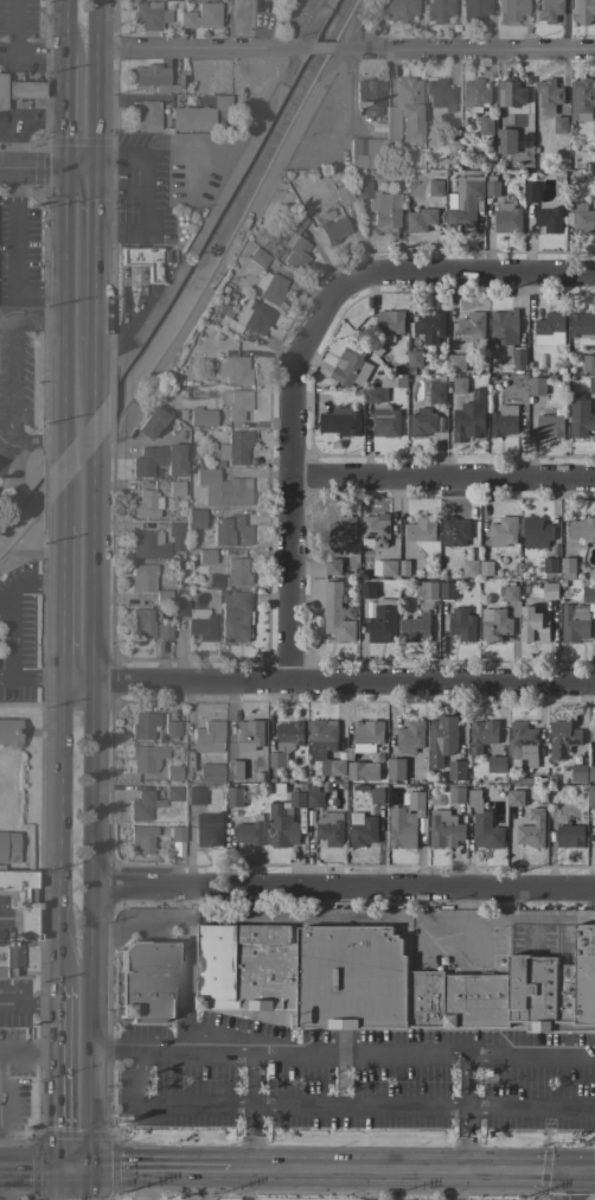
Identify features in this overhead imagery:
building: (397, 8)
building: (439, 9)
building: (474, 9)
building: (511, 9)
building: (549, 11)
building: (582, 11)
building: (149, 14)
building: (200, 15)
road: (65, 27)
road: (199, 47)
road: (326, 47)
road: (473, 49)
road: (32, 51)
building: (154, 77)
road: (96, 78)
building: (24, 89)
building: (1, 90)
building: (439, 92)
building: (474, 92)
building: (510, 92)
building: (370, 95)
building: (548, 95)
building: (181, 98)
building: (582, 98)
building: (220, 102)
building: (404, 109)
road: (65, 114)
building: (145, 114)
building: (192, 117)
road: (32, 121)
building: (559, 125)
building: (484, 126)
building: (594, 128)
building: (506, 141)
road: (9, 151)
building: (365, 152)
road: (104, 161)
road: (128, 161)
road: (96, 166)
road: (31, 172)
traffic signals: (64, 172)
road: (79, 173)
traffic signals: (96, 174)
parking lot: (166, 174)
road: (96, 183)
building: (491, 186)
building: (435, 187)
road: (128, 190)
road: (104, 191)
building: (530, 192)
building: (341, 193)
building: (380, 205)
building: (463, 205)
road: (96, 211)
building: (506, 218)
road: (142, 219)
building: (421, 219)
building: (548, 219)
building: (583, 219)
building: (293, 221)
building: (333, 229)
building: (581, 241)
road: (14, 254)
building: (296, 254)
building: (257, 256)
building: (142, 260)
road: (478, 269)
road: (141, 287)
building: (270, 287)
road: (95, 291)
road: (62, 292)
road: (126, 301)
building: (249, 315)
road: (41, 318)
building: (389, 321)
road: (11, 326)
building: (429, 326)
building: (582, 326)
building: (469, 327)
building: (549, 330)
building: (506, 338)
building: (415, 358)
road: (5, 360)
building: (455, 363)
building: (588, 363)
building: (350, 366)
building: (233, 369)
road: (94, 379)
building: (399, 382)
building: (458, 384)
building: (591, 385)
building: (536, 387)
building: (375, 394)
building: (436, 395)
building: (236, 402)
road: (6, 406)
building: (201, 416)
building: (580, 416)
building: (468, 417)
building: (151, 421)
building: (384, 421)
building: (503, 421)
building: (339, 422)
building: (422, 422)
building: (550, 425)
road: (31, 438)
road: (92, 447)
building: (235, 447)
road: (59, 452)
building: (158, 459)
road: (288, 461)
road: (441, 479)
building: (175, 487)
building: (222, 487)
building: (147, 499)
road: (60, 509)
building: (194, 518)
building: (174, 528)
building: (421, 529)
building: (229, 530)
building: (373, 530)
building: (453, 531)
building: (341, 532)
building: (503, 532)
building: (536, 532)
building: (581, 532)
building: (146, 544)
building: (206, 556)
building: (549, 564)
building: (332, 566)
building: (388, 568)
building: (403, 568)
building: (469, 568)
building: (568, 568)
building: (236, 572)
building: (142, 576)
road: (26, 581)
road: (91, 582)
building: (549, 589)
building: (366, 591)
building: (426, 591)
building: (447, 591)
building: (511, 593)
building: (588, 594)
building: (162, 596)
road: (58, 602)
building: (335, 613)
building: (235, 615)
building: (196, 619)
building: (143, 620)
building: (382, 621)
building: (574, 623)
building: (461, 624)
building: (493, 625)
building: (533, 625)
building: (415, 628)
building: (162, 630)
road: (28, 678)
road: (75, 679)
road: (343, 682)
building: (142, 723)
building: (171, 727)
building: (9, 732)
building: (594, 733)
building: (248, 735)
building: (366, 735)
building: (481, 735)
building: (207, 736)
building: (409, 736)
building: (441, 739)
building: (562, 739)
building: (284, 742)
building: (522, 745)
building: (325, 747)
building: (146, 757)
building: (495, 764)
building: (395, 770)
building: (235, 771)
building: (362, 771)
building: (173, 772)
building: (210, 772)
building: (455, 772)
building: (577, 773)
building: (591, 773)
road: (92, 784)
building: (172, 792)
building: (194, 794)
building: (455, 794)
building: (376, 796)
building: (514, 796)
building: (233, 797)
building: (590, 797)
building: (156, 798)
building: (314, 799)
building: (142, 805)
building: (283, 821)
building: (405, 821)
building: (482, 824)
building: (330, 828)
building: (207, 829)
building: (444, 829)
building: (531, 830)
building: (249, 831)
road: (55, 832)
building: (177, 832)
building: (362, 832)
building: (594, 832)
building: (569, 836)
building: (142, 837)
building: (8, 845)
road: (344, 889)
building: (21, 898)
road: (462, 904)
road: (390, 915)
road: (190, 932)
building: (9, 957)
building: (385, 981)
building: (146, 982)
road: (26, 1003)
road: (90, 1026)
road: (341, 1049)
road: (26, 1052)
road: (52, 1075)
road: (466, 1079)
road: (335, 1106)
road: (254, 1136)
road: (465, 1138)
road: (71, 1166)
traffic signals: (90, 1166)
road: (158, 1166)
road: (26, 1167)
traffic signals: (52, 1167)
road: (392, 1168)
road: (577, 1173)
road: (90, 1182)
road: (192, 1182)
road: (244, 1182)
road: (52, 1183)
road: (367, 1183)
road: (456, 1185)
road: (559, 1186)

